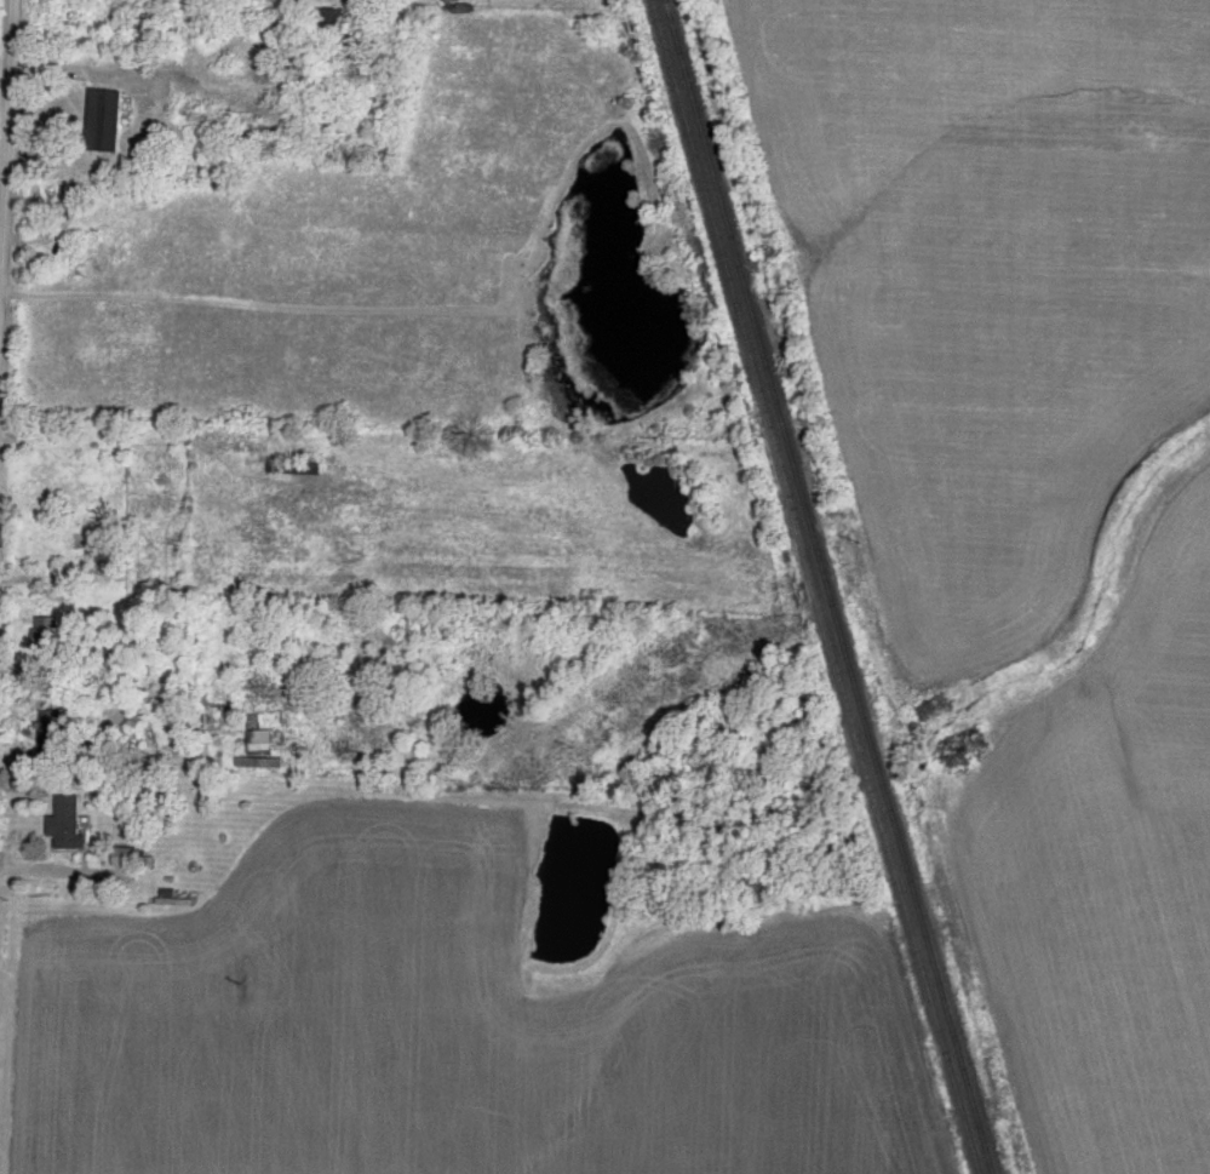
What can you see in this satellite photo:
building: (328, 24)
road: (92, 68)
building: (303, 82)
building: (104, 121)
road: (6, 187)
building: (294, 470)
railway: (812, 586)
railway: (826, 586)
building: (51, 632)
building: (162, 722)
building: (50, 731)
building: (259, 735)
building: (68, 824)
building: (130, 857)

